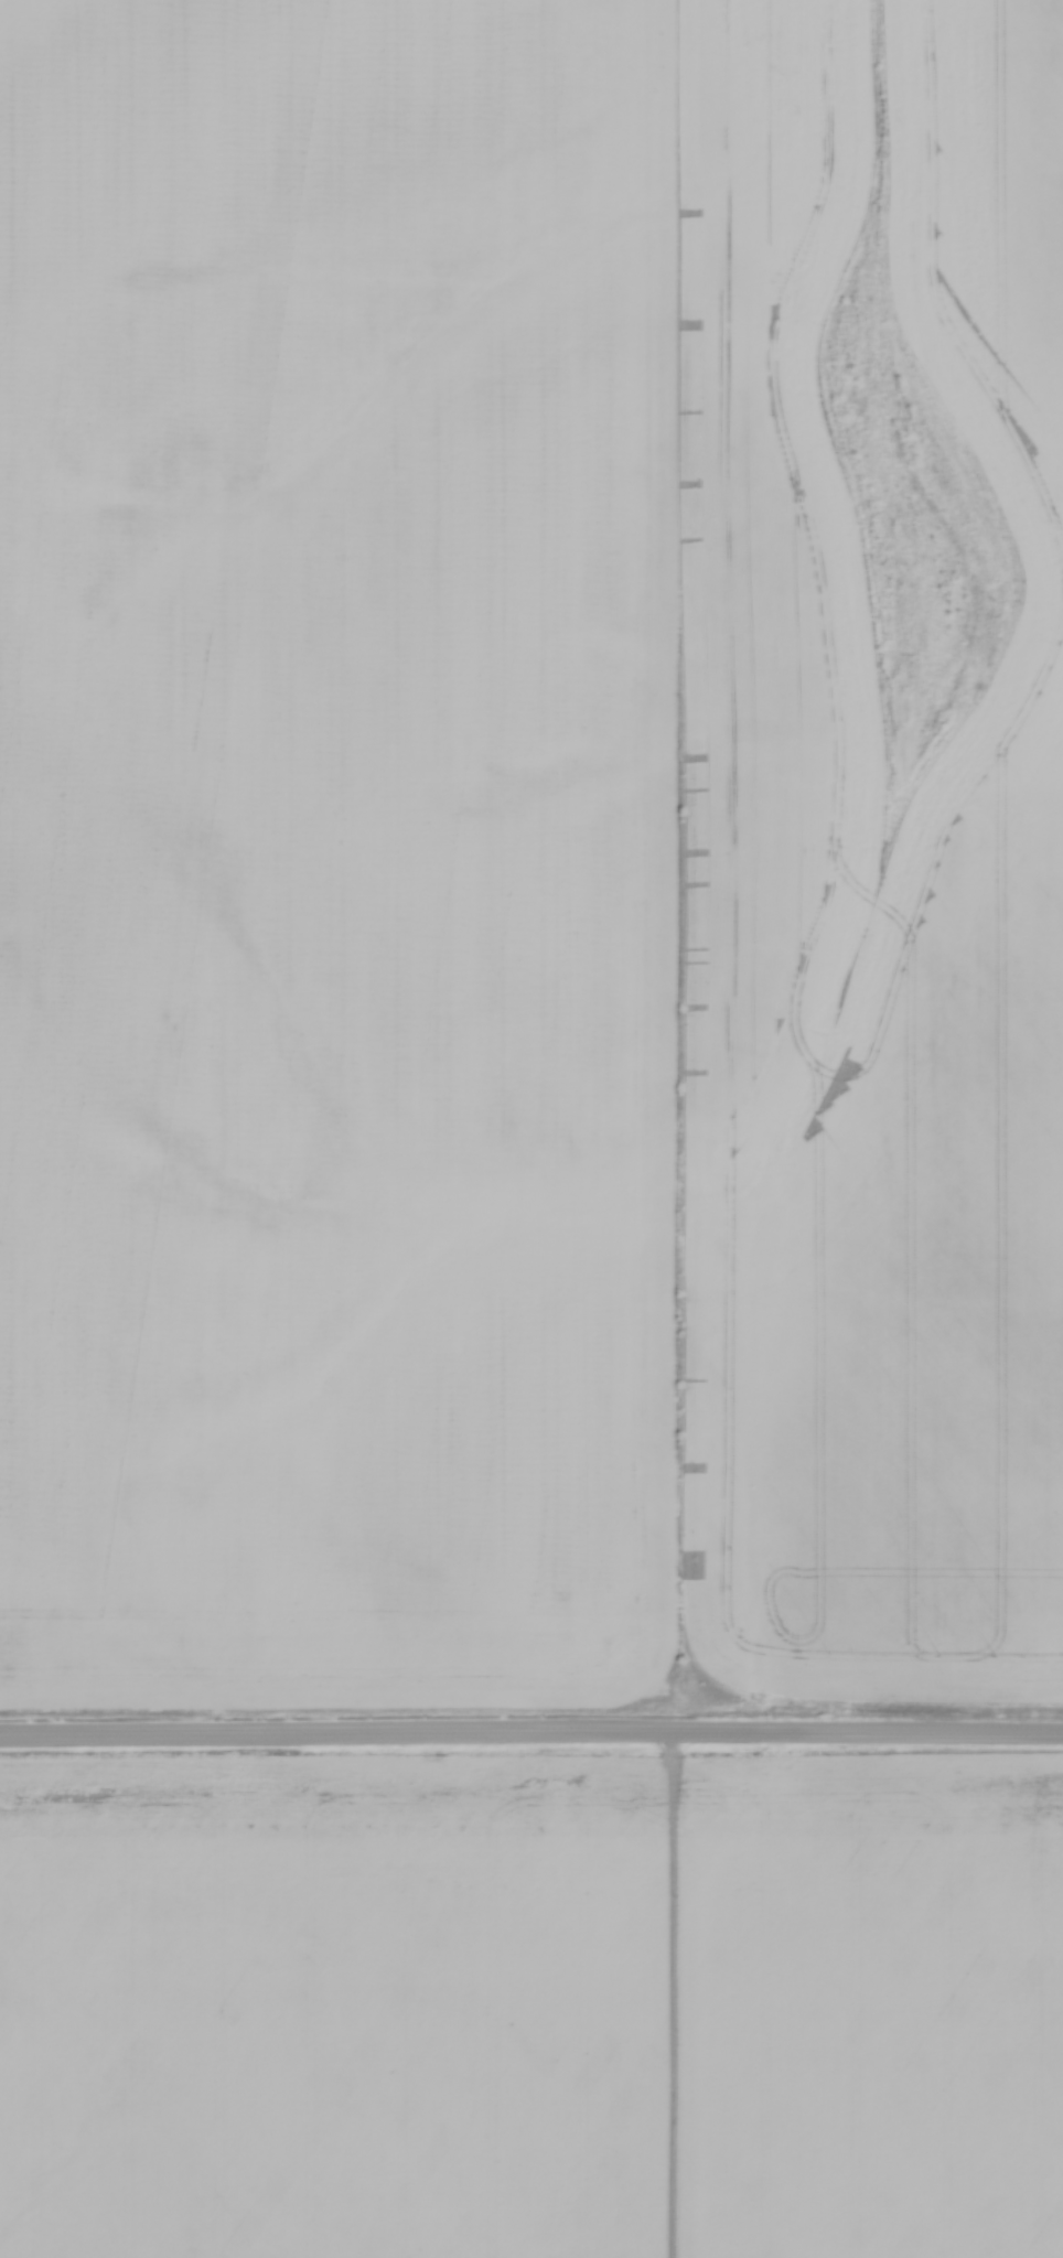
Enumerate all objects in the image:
road: (531, 1739)

